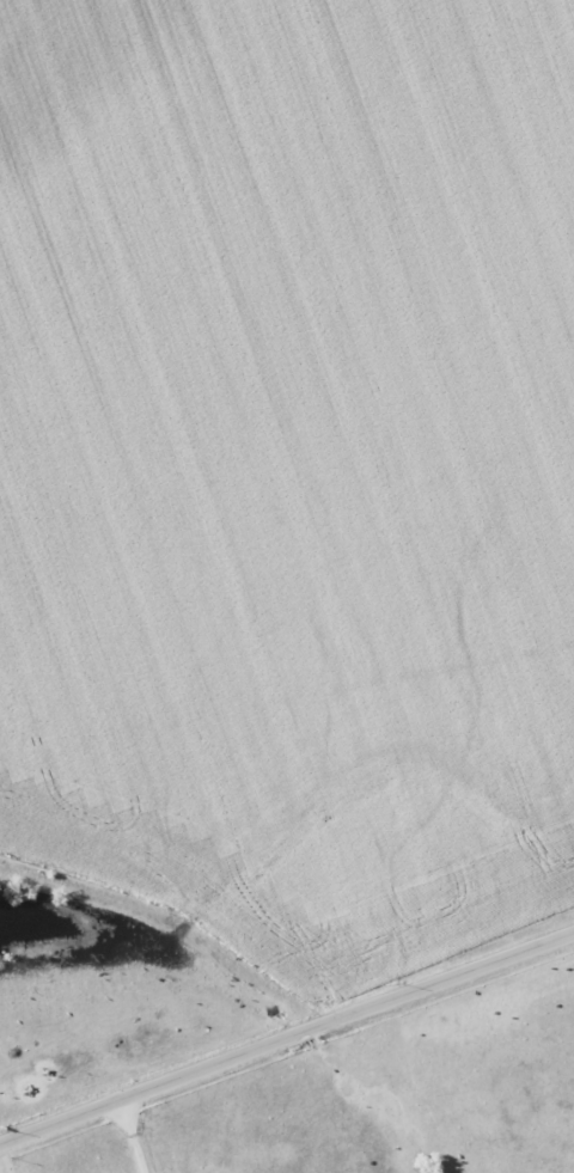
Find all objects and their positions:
road: (287, 1038)
road: (134, 1136)

